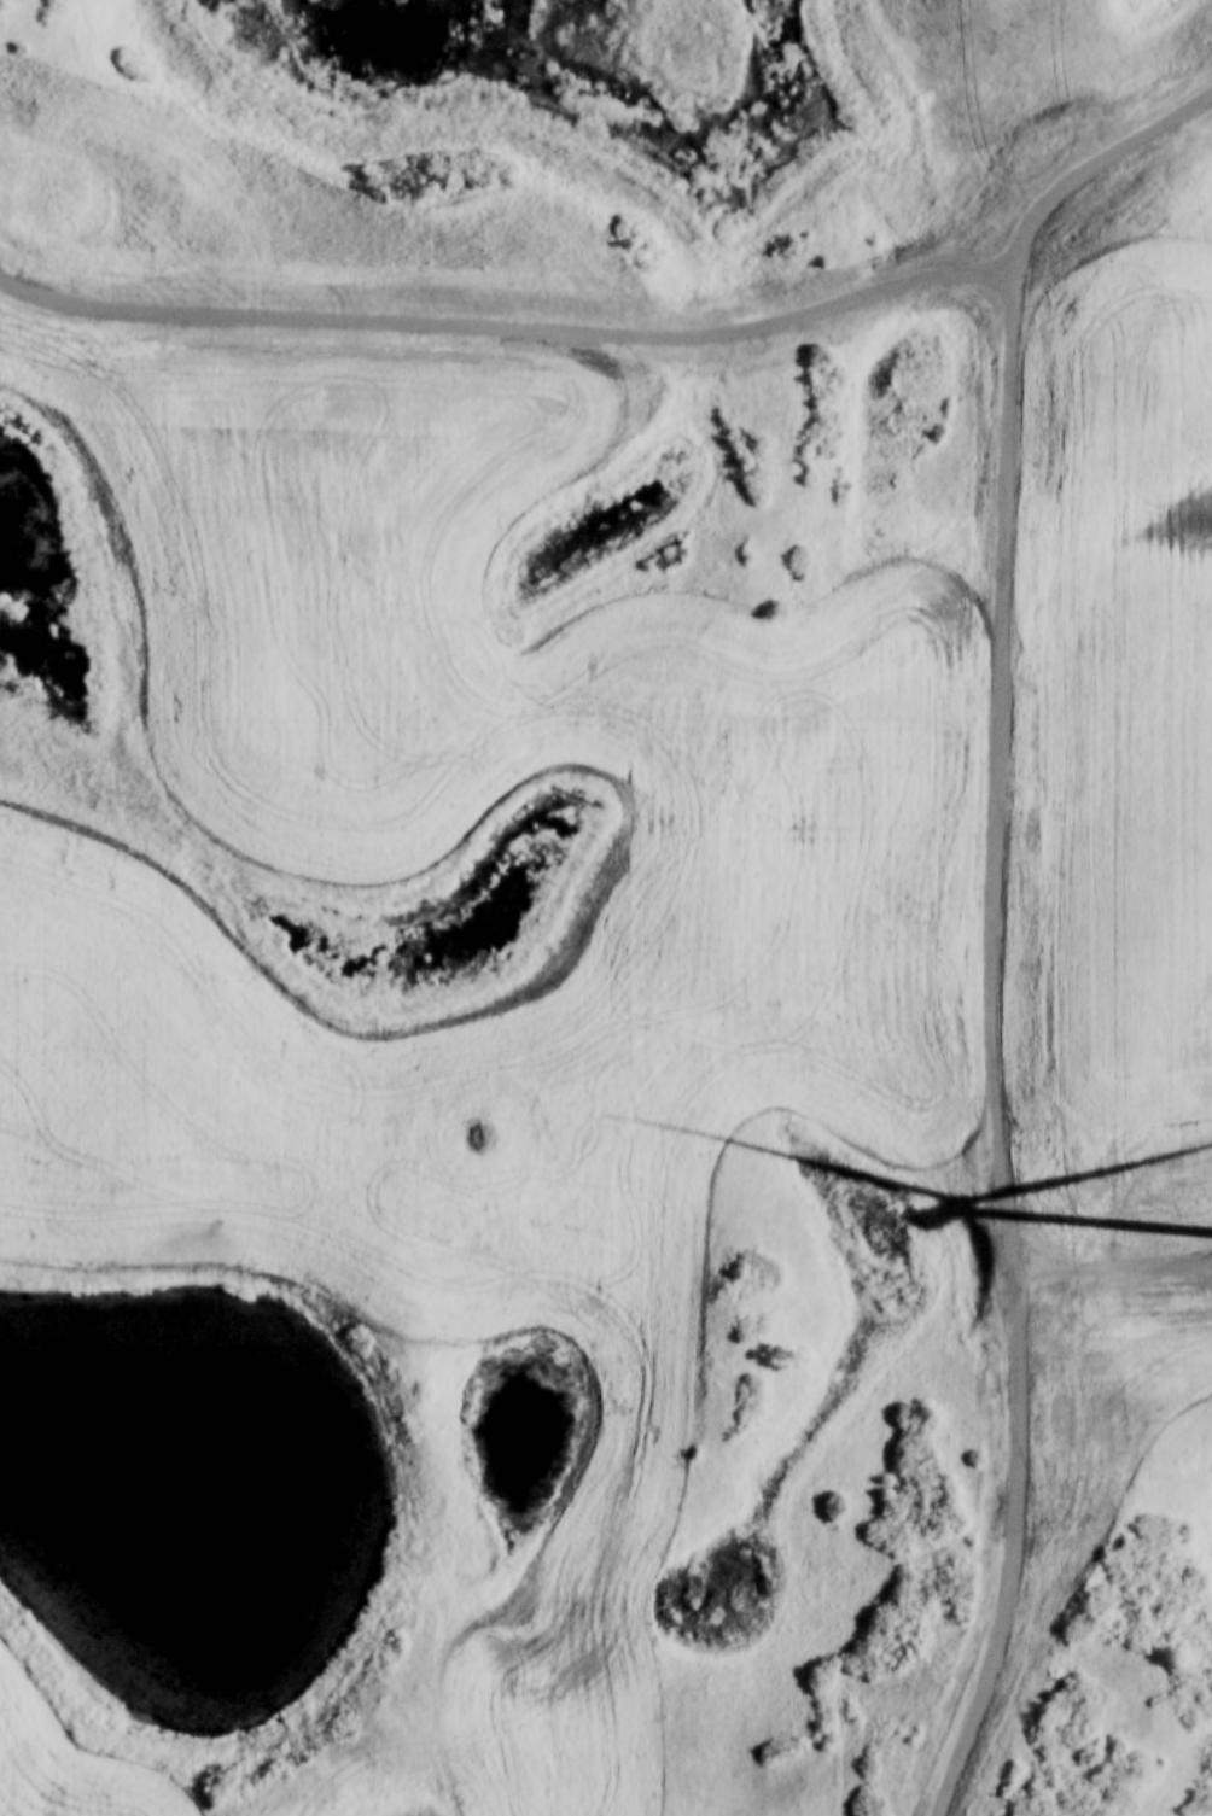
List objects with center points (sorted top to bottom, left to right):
road: (990, 912)
road: (1112, 1279)

